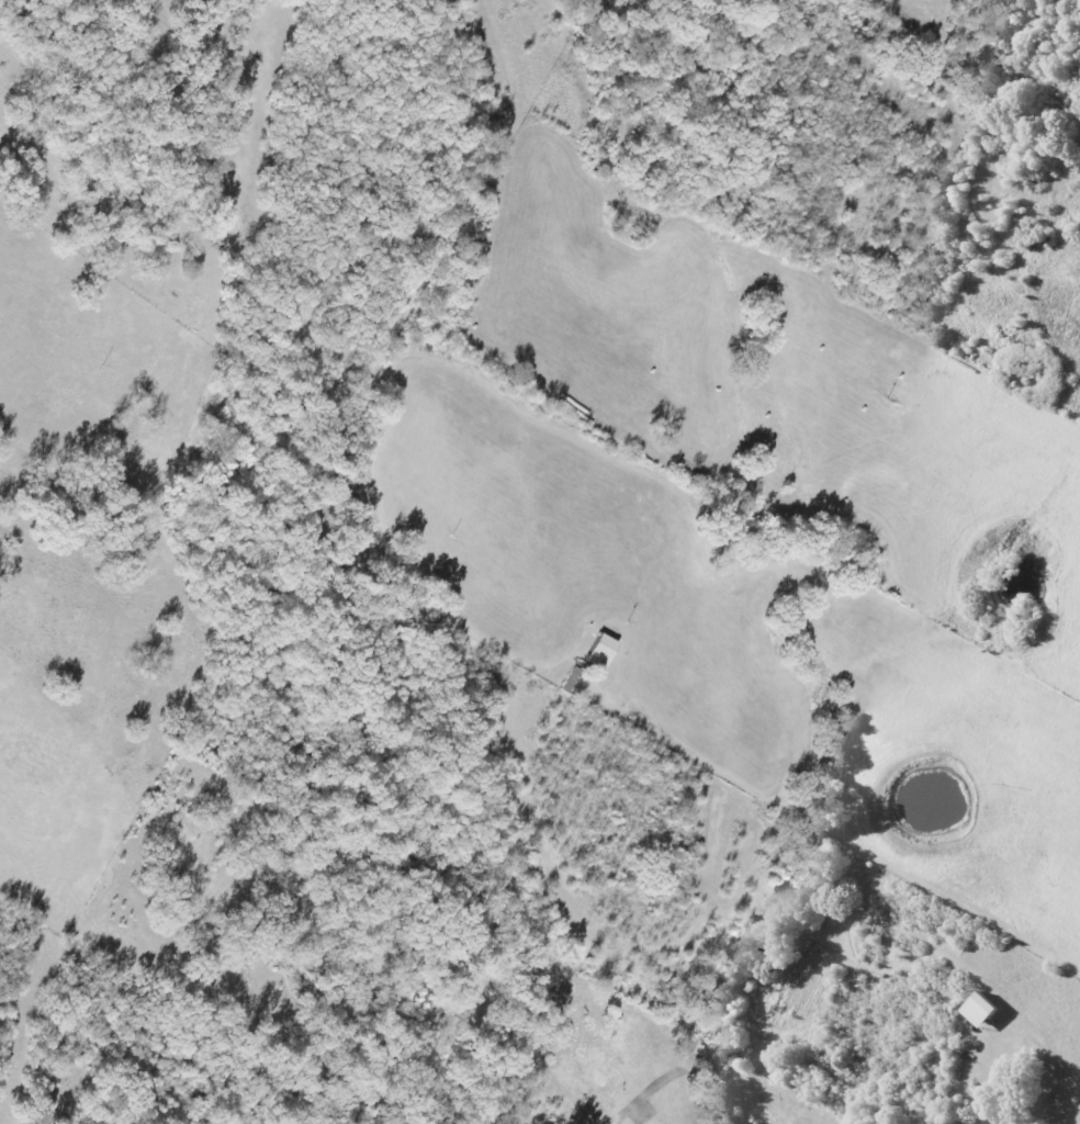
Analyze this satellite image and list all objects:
building: (603, 650)
building: (983, 1009)
road: (879, 1094)

